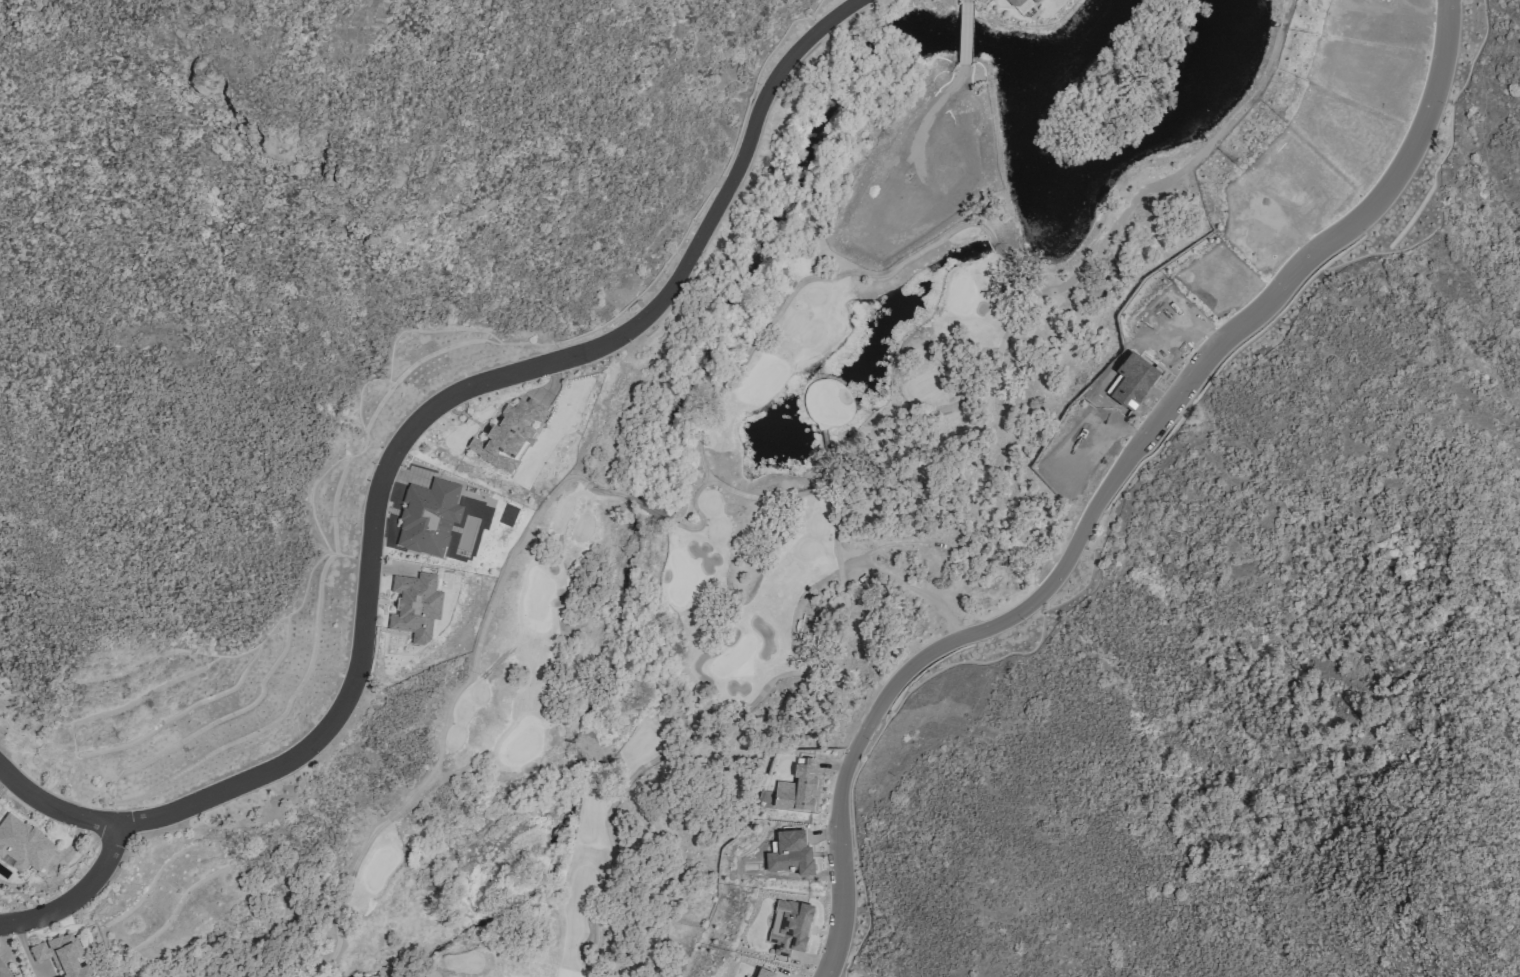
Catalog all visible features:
building: (1023, 5)
road: (999, 251)
road: (1247, 313)
building: (512, 434)
road: (401, 442)
road: (707, 482)
road: (691, 501)
building: (508, 515)
road: (701, 517)
building: (427, 518)
road: (672, 522)
road: (678, 524)
road: (835, 542)
road: (847, 554)
road: (494, 598)
building: (412, 606)
road: (795, 611)
building: (815, 634)
road: (783, 675)
road: (848, 756)
building: (798, 787)
road: (617, 796)
building: (23, 845)
road: (345, 896)
road: (76, 897)
building: (62, 955)
building: (3, 971)
road: (432, 973)

